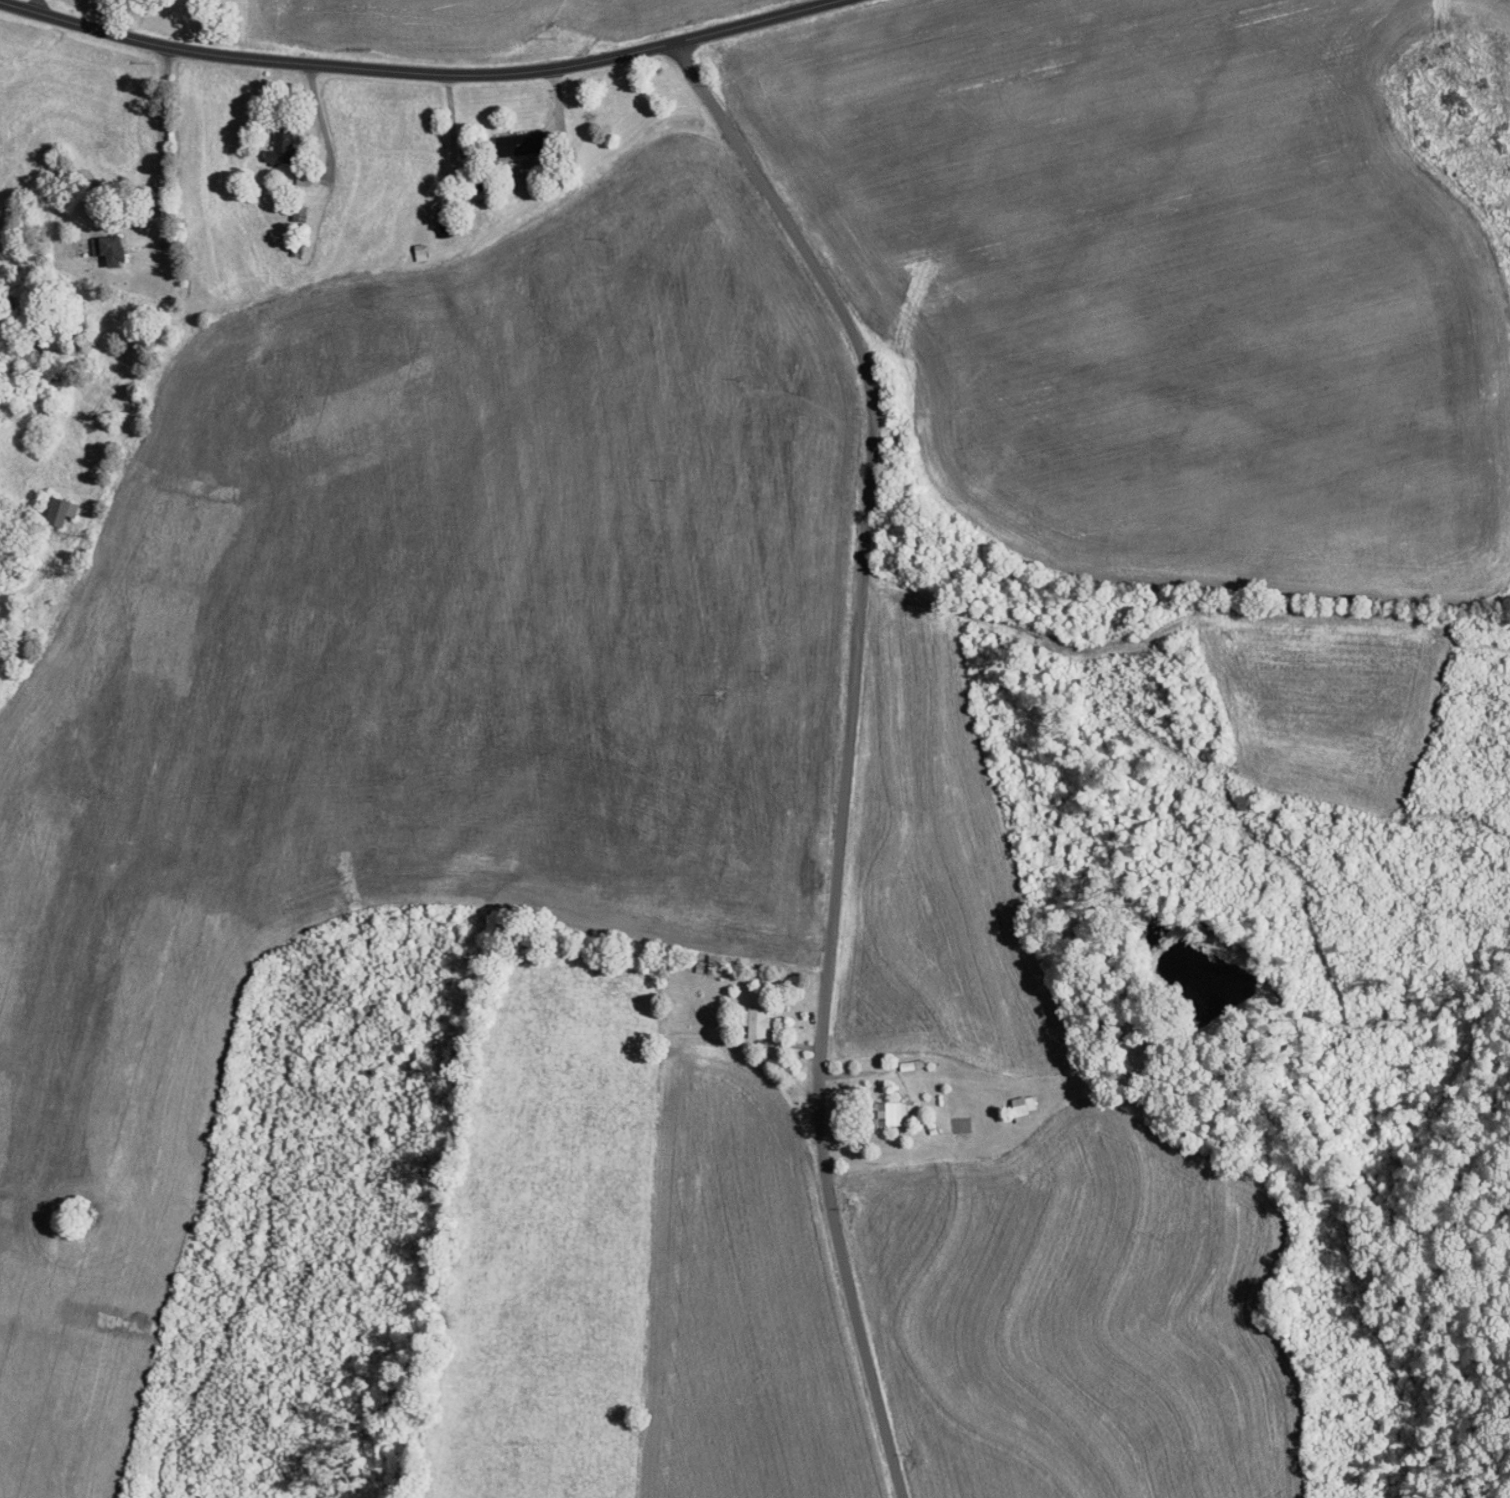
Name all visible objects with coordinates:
road: (36, 7)
road: (429, 75)
building: (513, 144)
building: (276, 146)
building: (106, 248)
building: (417, 252)
road: (170, 317)
building: (57, 511)
road: (849, 751)
building: (753, 1022)
building: (1021, 1107)
building: (891, 1113)

